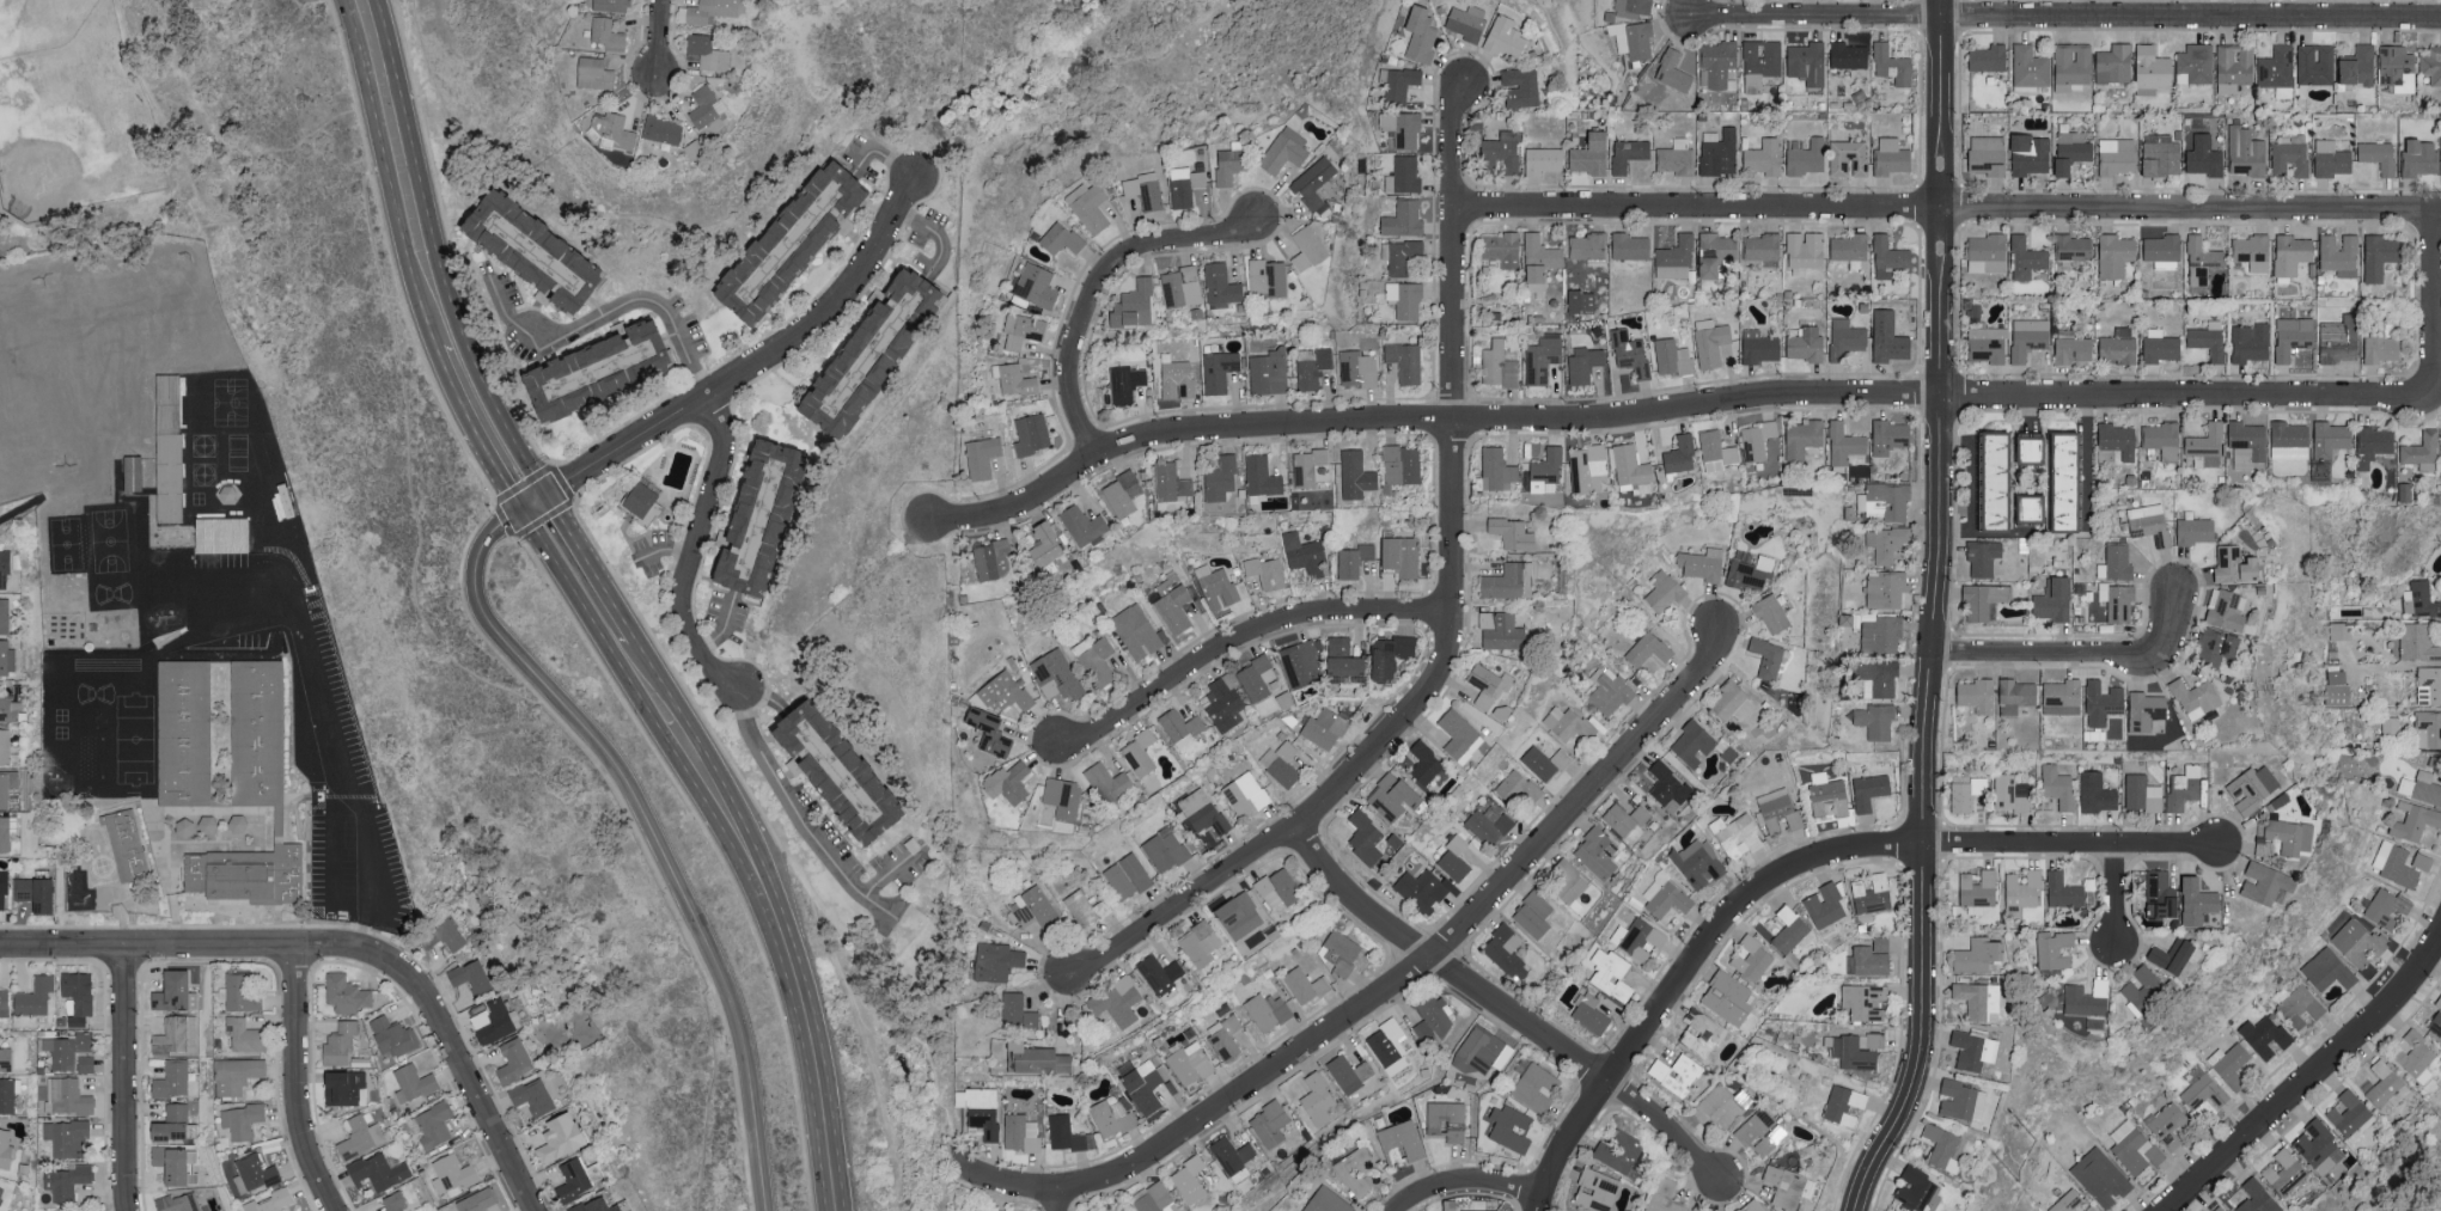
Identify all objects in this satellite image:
building: (611, 5)
building: (1633, 7)
building: (709, 10)
road: (2064, 14)
building: (1466, 20)
park: (39, 24)
building: (608, 32)
building: (1421, 33)
building: (1505, 36)
building: (1634, 38)
road: (660, 39)
building: (707, 51)
building: (1848, 55)
building: (1987, 57)
building: (1807, 61)
building: (1760, 62)
building: (1892, 63)
building: (2114, 63)
building: (2195, 63)
building: (2315, 63)
building: (2431, 63)
building: (1717, 65)
building: (2357, 65)
building: (2030, 66)
building: (2234, 66)
building: (2397, 66)
building: (2073, 68)
building: (2152, 69)
building: (1673, 71)
building: (2277, 71)
building: (594, 72)
building: (1399, 84)
building: (1520, 86)
building: (706, 108)
park: (80, 127)
building: (1402, 128)
building: (663, 129)
building: (612, 130)
park: (65, 147)
building: (1284, 151)
building: (1719, 151)
building: (2071, 151)
building: (1501, 152)
building: (1591, 153)
building: (1628, 153)
road: (880, 154)
building: (1988, 154)
building: (2031, 154)
building: (2161, 154)
building: (2246, 154)
building: (1806, 155)
building: (1891, 155)
building: (2117, 155)
building: (2204, 155)
building: (2290, 155)
building: (2379, 155)
building: (2419, 155)
building: (1674, 157)
building: (1764, 157)
building: (1848, 157)
building: (2332, 158)
building: (1544, 159)
building: (1229, 164)
road: (386, 175)
building: (1404, 175)
building: (1313, 182)
building: (1185, 185)
building: (1143, 189)
building: (1088, 206)
road: (1948, 206)
building: (1403, 219)
road: (26, 230)
building: (1061, 238)
road: (936, 240)
building: (793, 243)
building: (1587, 245)
building: (1629, 245)
building: (1760, 246)
building: (2073, 246)
building: (1307, 247)
building: (1502, 249)
building: (1851, 249)
building: (2162, 250)
building: (1805, 251)
building: (2252, 251)
building: (1715, 252)
building: (1988, 252)
building: (2292, 253)
building: (1400, 255)
building: (2116, 255)
building: (2339, 255)
building: (2381, 255)
building: (1888, 256)
road: (438, 257)
building: (533, 257)
building: (1676, 257)
building: (2026, 257)
building: (2202, 259)
building: (1539, 261)
building: (2040, 273)
building: (1268, 276)
building: (1036, 285)
building: (1221, 286)
building: (1180, 287)
road: (1096, 288)
road: (2431, 290)
building: (1405, 299)
building: (1581, 300)
building: (1134, 305)
road: (596, 308)
road: (602, 320)
building: (1023, 329)
building: (2293, 336)
building: (1845, 337)
building: (1888, 337)
building: (2028, 337)
building: (2209, 338)
building: (2339, 338)
building: (1710, 342)
building: (2250, 342)
building: (1805, 343)
building: (1988, 343)
building: (2160, 344)
building: (2381, 344)
building: (2118, 345)
building: (1759, 347)
building: (2073, 348)
building: (1630, 353)
building: (871, 354)
building: (1672, 356)
building: (1542, 359)
building: (1405, 361)
building: (1585, 362)
road: (761, 363)
building: (1500, 365)
building: (1312, 366)
building: (1357, 367)
building: (1219, 371)
building: (1268, 372)
building: (597, 374)
building: (1014, 378)
building: (1177, 378)
building: (1125, 383)
road: (1680, 410)
building: (1032, 433)
road: (470, 434)
building: (1890, 435)
building: (1802, 436)
building: (2330, 438)
building: (1757, 439)
building: (2117, 439)
building: (2162, 439)
building: (2207, 440)
building: (2289, 440)
building: (2247, 444)
building: (2373, 445)
building: (2031, 446)
building: (1716, 451)
building: (2422, 451)
building: (1679, 454)
building: (982, 455)
road: (2088, 460)
building: (1402, 464)
building: (1630, 464)
building: (171, 465)
building: (1308, 465)
building: (1588, 467)
building: (1497, 469)
building: (1545, 471)
building: (132, 472)
building: (1262, 476)
building: (1357, 477)
building: (1221, 478)
building: (1993, 479)
building: (2065, 479)
building: (1171, 482)
road: (1970, 484)
building: (1636, 487)
building: (277, 493)
building: (1122, 493)
traffic signals: (548, 497)
building: (641, 501)
building: (1885, 501)
road: (533, 506)
building: (2030, 508)
road: (18, 509)
traffic signals: (519, 515)
building: (759, 521)
building: (2149, 522)
building: (1084, 525)
building: (219, 530)
building: (2196, 531)
building: (1512, 533)
road: (624, 538)
building: (1887, 543)
building: (1045, 544)
road: (665, 546)
road: (694, 550)
building: (1305, 553)
building: (1400, 555)
building: (1983, 557)
building: (993, 559)
building: (1354, 559)
building: (2116, 561)
building: (1702, 563)
building: (2235, 564)
road: (590, 568)
building: (4, 569)
building: (1265, 571)
building: (1749, 573)
building: (1509, 581)
building: (1886, 589)
building: (1664, 591)
building: (1983, 599)
building: (2054, 599)
building: (2419, 599)
building: (2118, 600)
building: (1173, 604)
building: (2226, 608)
building: (1771, 612)
road: (1932, 612)
building: (4, 614)
road: (1450, 622)
road: (720, 624)
building: (1501, 630)
building: (2341, 630)
building: (1137, 631)
building: (1881, 634)
road: (596, 635)
road: (1243, 642)
building: (2417, 642)
building: (2215, 647)
building: (1648, 649)
road: (2074, 652)
building: (1390, 655)
building: (6, 656)
building: (1769, 658)
building: (1097, 659)
building: (1343, 661)
building: (1302, 663)
building: (1056, 674)
building: (1256, 678)
building: (1878, 678)
building: (1488, 685)
building: (2429, 685)
road: (665, 689)
building: (2337, 689)
building: (1609, 691)
building: (1005, 692)
building: (1977, 695)
building: (2016, 695)
road: (325, 696)
road: (765, 697)
building: (2062, 697)
building: (2196, 697)
building: (1732, 702)
building: (2103, 702)
building: (1223, 703)
building: (5, 704)
building: (2144, 710)
building: (1875, 721)
building: (1568, 723)
building: (1182, 727)
building: (1324, 728)
building: (2428, 729)
building: (989, 732)
building: (1460, 734)
building: (185, 735)
building: (1694, 744)
building: (4, 745)
building: (1479, 751)
building: (1140, 752)
building: (1544, 762)
building: (1281, 763)
building: (1426, 763)
building: (836, 772)
building: (1107, 781)
building: (1008, 782)
building: (2058, 785)
building: (2184, 787)
building: (2253, 787)
building: (1518, 788)
building: (4, 789)
building: (1869, 791)
building: (1966, 791)
building: (2010, 793)
building: (2097, 793)
building: (1245, 794)
building: (2142, 794)
building: (1062, 796)
building: (1393, 796)
building: (1829, 796)
building: (255, 802)
road: (798, 811)
building: (1778, 811)
building: (1203, 812)
building: (2415, 820)
building: (1628, 822)
building: (1489, 824)
building: (5, 832)
road: (652, 834)
building: (1737, 834)
building: (2290, 836)
building: (1365, 837)
road: (2070, 844)
building: (2265, 846)
building: (1165, 849)
building: (116, 851)
road: (324, 851)
building: (1597, 852)
building: (1454, 858)
building: (2423, 861)
building: (1698, 863)
building: (2396, 864)
road: (891, 871)
building: (1128, 875)
building: (2265, 882)
building: (1569, 883)
building: (79, 888)
building: (1279, 888)
building: (1421, 889)
building: (35, 891)
building: (1978, 891)
building: (2063, 891)
building: (2021, 892)
building: (1871, 893)
road: (2112, 894)
building: (2161, 894)
building: (1665, 895)
building: (2197, 901)
building: (2386, 906)
building: (1086, 907)
building: (1533, 915)
building: (1239, 916)
building: (1792, 931)
building: (443, 935)
building: (1638, 938)
building: (2358, 941)
building: (1200, 943)
road: (193, 946)
building: (2054, 948)
building: (1341, 952)
building: (1506, 952)
building: (1978, 954)
building: (2172, 955)
building: (1869, 958)
building: (1752, 959)
building: (996, 960)
road: (787, 967)
road: (1683, 970)
building: (2329, 970)
building: (1160, 973)
building: (1611, 974)
building: (471, 977)
building: (1305, 985)
road: (1387, 985)
building: (2143, 986)
building: (78, 992)
building: (173, 992)
building: (242, 993)
building: (346, 993)
building: (35, 996)
building: (1728, 997)
building: (2087, 998)
building: (1979, 999)
building: (1117, 1001)
building: (1863, 1001)
building: (4, 1002)
building: (2300, 1003)
road: (1502, 1005)
building: (1268, 1010)
building: (1017, 1011)
building: (1589, 1014)
building: (1434, 1020)
building: (2436, 1020)
building: (496, 1022)
building: (1701, 1032)
building: (177, 1034)
building: (245, 1035)
building: (392, 1035)
building: (1225, 1035)
building: (2266, 1035)
building: (1871, 1040)
building: (340, 1042)
building: (1389, 1047)
building: (66, 1048)
building: (1479, 1050)
building: (1973, 1050)
building: (2415, 1052)
building: (1853, 1053)
building: (5, 1058)
building: (1038, 1059)
building: (514, 1060)
building: (1189, 1060)
building: (86, 1064)
building: (2231, 1064)
building: (1677, 1072)
building: (237, 1075)
building: (1354, 1077)
road: (126, 1078)
road: (466, 1078)
building: (175, 1079)
road: (2312, 1081)
road: (300, 1082)
building: (413, 1082)
building: (2384, 1082)
building: (1143, 1085)
building: (1534, 1087)
building: (343, 1088)
building: (2204, 1091)
building: (7, 1095)
building: (67, 1096)
building: (532, 1096)
building: (1318, 1100)
building: (1960, 1100)
building: (1843, 1105)
building: (1721, 1106)
building: (176, 1111)
building: (980, 1111)
building: (2351, 1115)
building: (1111, 1117)
building: (240, 1120)
building: (1447, 1120)
building: (432, 1124)
building: (1273, 1124)
building: (2170, 1124)
building: (1511, 1127)
building: (167, 1131)
building: (1760, 1132)
building: (1021, 1133)
building: (1064, 1133)
building: (360, 1136)
building: (67, 1137)
building: (560, 1138)
building: (1402, 1142)
building: (2319, 1146)
building: (1943, 1148)
building: (2132, 1150)
building: (1619, 1151)
building: (1232, 1154)
building: (2155, 1155)
building: (175, 1164)
building: (379, 1170)
building: (1356, 1170)
building: (2284, 1172)
building: (255, 1174)
building: (452, 1174)
building: (2101, 1176)
building: (1189, 1179)
building: (67, 1180)
building: (573, 1180)
road: (1463, 1181)
building: (1788, 1186)
building: (1915, 1188)
building: (1, 1191)
building: (1597, 1191)
building: (1665, 1197)
building: (2258, 1197)
building: (1155, 1198)
building: (477, 1200)
building: (271, 1201)
building: (395, 1201)
road: (1061, 1201)
building: (1328, 1201)
building: (2068, 1201)
building: (177, 1203)
building: (596, 1205)
building: (1753, 1206)
building: (2091, 1209)
building: (2221, 1209)
building: (83, 1210)
building: (999, 1210)
building: (1482, 1210)

